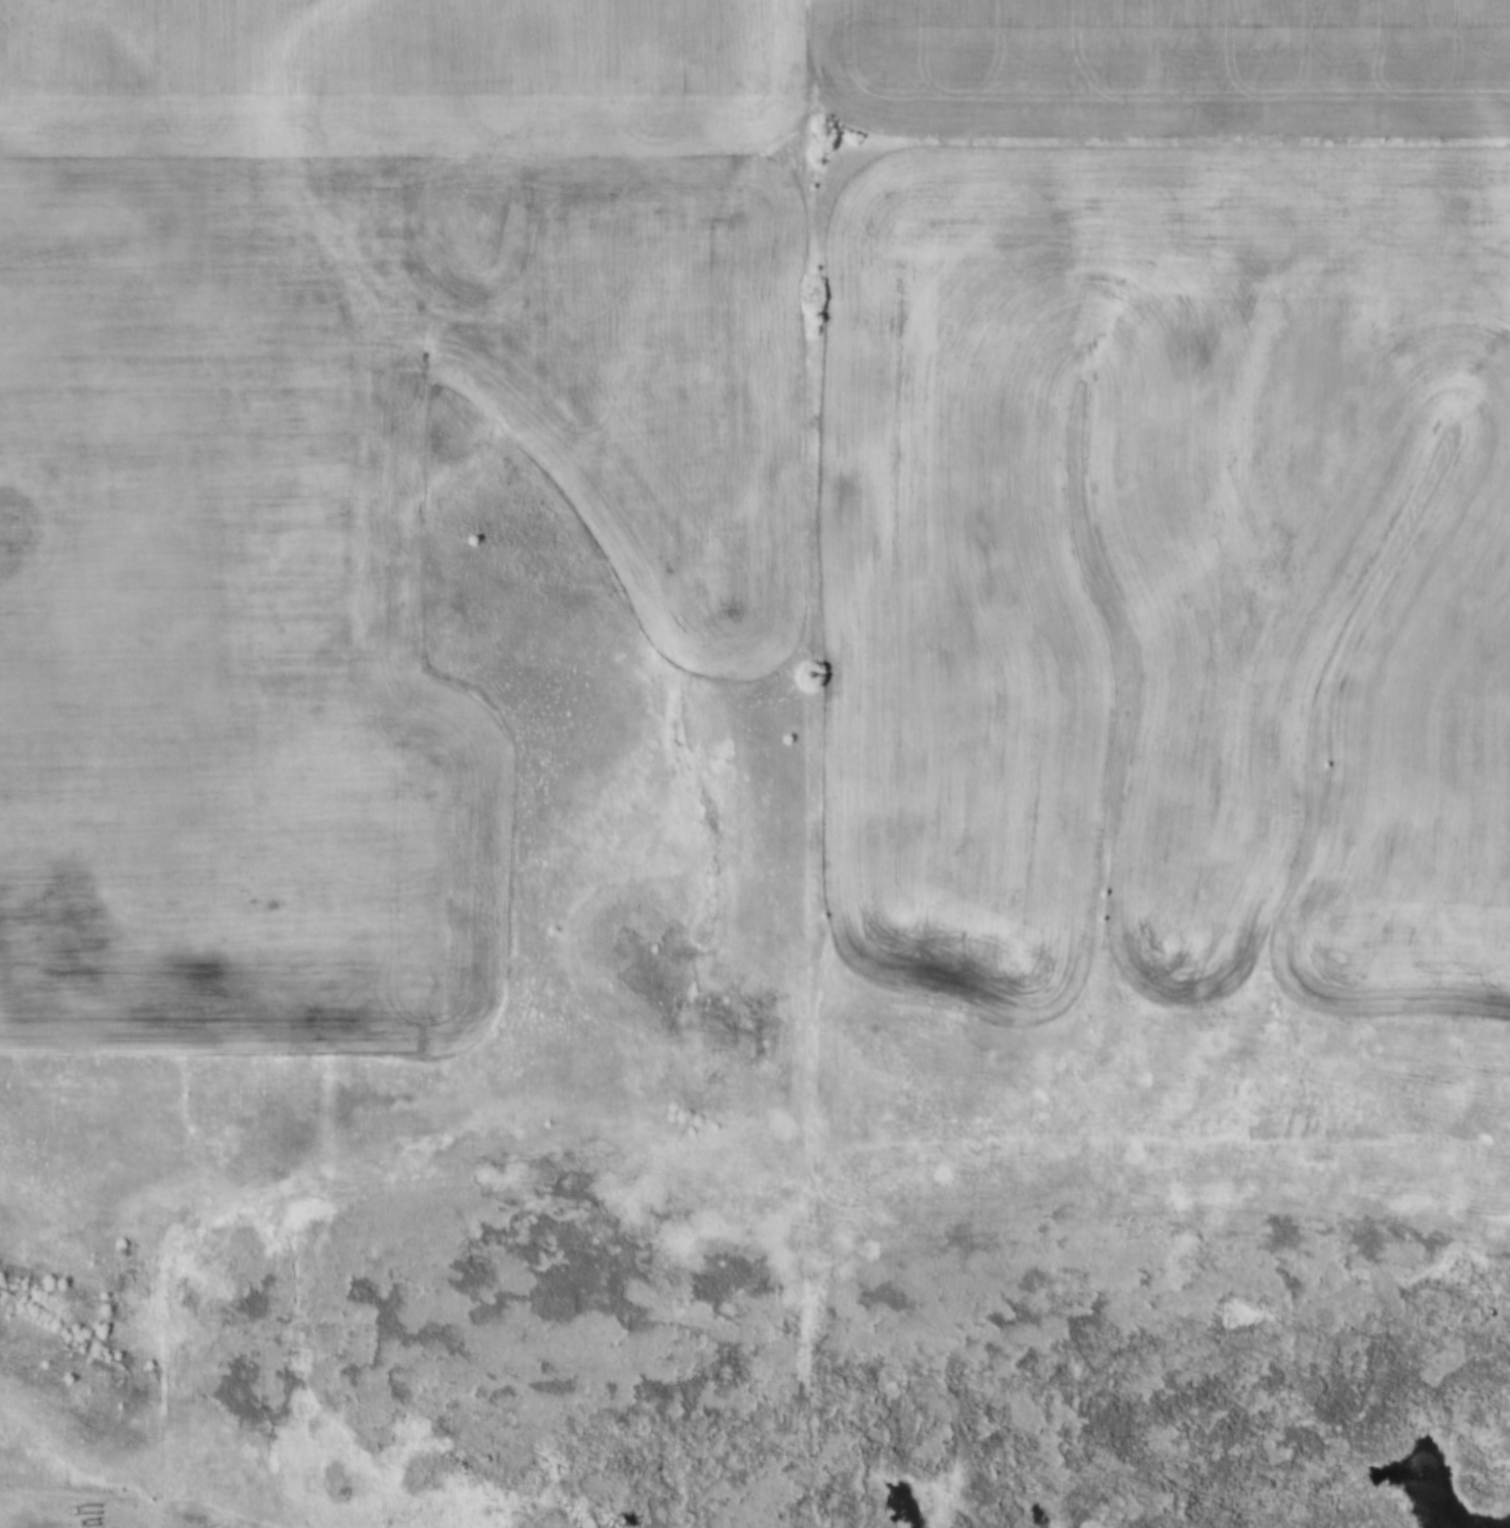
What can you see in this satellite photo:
road: (267, 1385)

